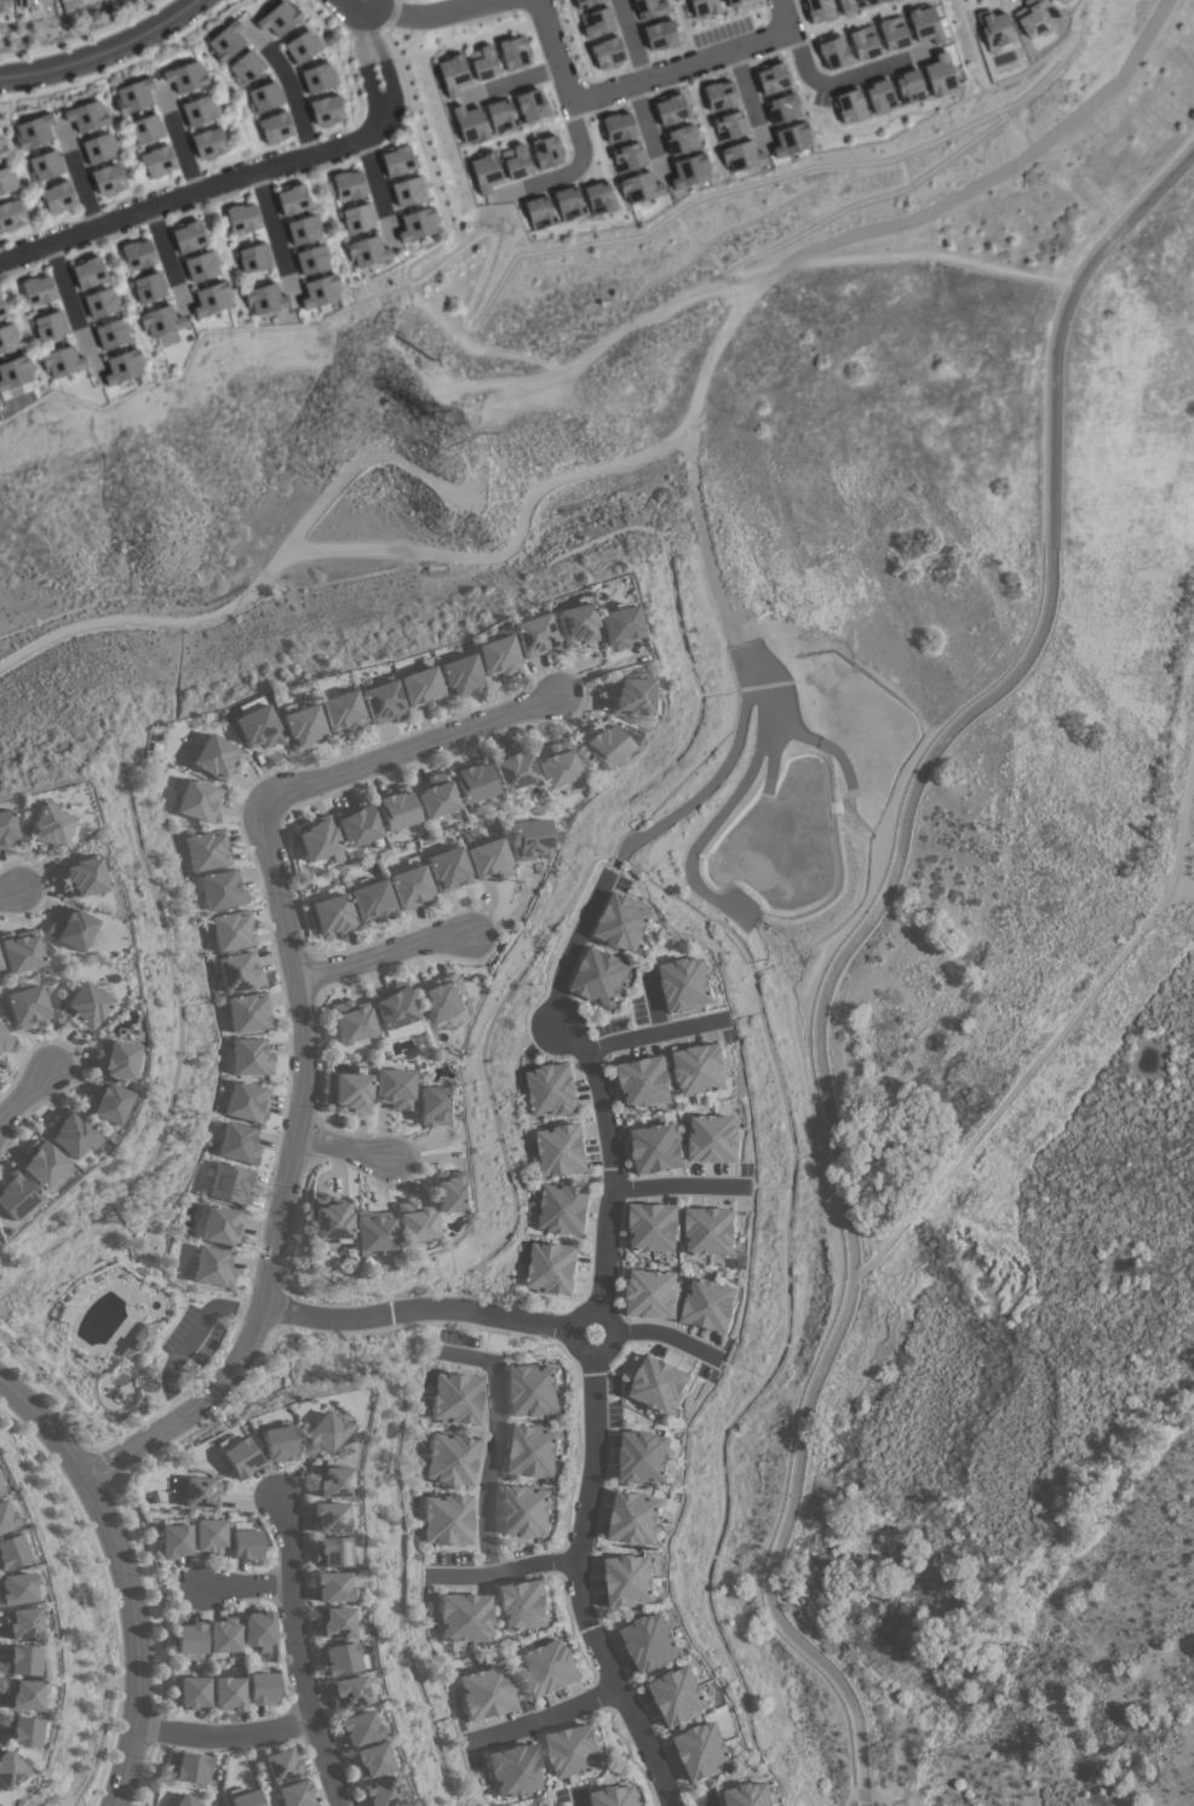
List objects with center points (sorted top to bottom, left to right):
building: (62, 0)
building: (733, 1)
road: (354, 2)
building: (30, 4)
building: (585, 4)
building: (856, 5)
building: (4, 6)
building: (648, 8)
building: (701, 8)
building: (817, 11)
road: (429, 15)
building: (279, 18)
building: (596, 23)
building: (923, 25)
building: (891, 33)
building: (659, 36)
road: (82, 38)
building: (225, 42)
building: (862, 44)
building: (302, 47)
road: (103, 52)
building: (512, 53)
building: (605, 53)
building: (832, 53)
building: (482, 64)
building: (246, 68)
building: (452, 75)
building: (937, 75)
building: (185, 76)
building: (317, 78)
building: (770, 80)
road: (644, 81)
road: (826, 82)
building: (907, 87)
road: (289, 90)
building: (133, 96)
building: (878, 97)
building: (264, 98)
building: (848, 107)
building: (781, 109)
building: (515, 110)
building: (668, 110)
building: (197, 111)
building: (326, 111)
building: (86, 116)
building: (469, 125)
building: (275, 128)
building: (729, 128)
building: (144, 130)
building: (33, 132)
building: (679, 141)
building: (790, 141)
road: (177, 144)
building: (208, 144)
building: (2, 149)
building: (98, 149)
building: (545, 153)
road: (579, 156)
building: (627, 159)
building: (397, 160)
building: (157, 162)
building: (515, 162)
building: (45, 166)
building: (688, 172)
building: (484, 173)
road: (249, 176)
road: (779, 176)
road: (80, 179)
building: (6, 180)
building: (108, 180)
building: (348, 185)
road: (375, 190)
building: (407, 191)
building: (57, 197)
building: (597, 199)
building: (292, 200)
building: (567, 203)
building: (538, 212)
building: (11, 216)
building: (356, 218)
building: (241, 219)
building: (417, 225)
building: (303, 230)
building: (188, 236)
building: (367, 252)
building: (137, 256)
building: (252, 258)
building: (311, 260)
building: (200, 266)
building: (88, 273)
building: (148, 288)
building: (38, 291)
building: (320, 292)
building: (211, 299)
building: (264, 299)
building: (101, 303)
road: (70, 309)
building: (2, 311)
building: (160, 321)
building: (48, 326)
building: (111, 333)
building: (7, 338)
road: (712, 351)
building: (62, 362)
building: (122, 367)
building: (15, 373)
power tower: (446, 428)
road: (354, 552)
building: (574, 624)
building: (616, 626)
building: (532, 636)
building: (495, 653)
building: (459, 676)
building: (420, 688)
building: (627, 696)
building: (381, 703)
building: (341, 712)
building: (302, 727)
building: (257, 728)
building: (602, 745)
road: (404, 751)
building: (213, 757)
building: (555, 766)
building: (512, 768)
building: (472, 780)
building: (435, 796)
building: (200, 801)
building: (395, 809)
building: (357, 825)
building: (46, 827)
building: (5, 830)
building: (317, 838)
building: (529, 839)
building: (208, 849)
building: (489, 860)
building: (448, 868)
building: (81, 876)
building: (412, 888)
building: (223, 889)
road: (8, 895)
building: (373, 901)
building: (333, 916)
building: (624, 922)
building: (70, 929)
building: (231, 930)
road: (846, 950)
building: (19, 952)
road: (385, 956)
building: (0, 967)
building: (240, 971)
building: (601, 976)
building: (687, 984)
building: (442, 999)
building: (84, 1005)
building: (394, 1007)
building: (25, 1008)
road: (653, 1011)
building: (249, 1013)
building: (352, 1021)
road: (661, 1038)
building: (4, 1040)
building: (252, 1057)
building: (114, 1059)
building: (701, 1068)
building: (644, 1080)
building: (394, 1088)
building: (552, 1089)
road: (23, 1093)
building: (351, 1093)
building: (248, 1102)
building: (105, 1103)
building: (436, 1106)
building: (69, 1134)
building: (713, 1137)
building: (239, 1143)
road: (345, 1147)
building: (656, 1147)
building: (562, 1148)
building: (39, 1162)
building: (233, 1183)
road: (678, 1185)
road: (286, 1186)
building: (452, 1192)
building: (15, 1196)
building: (563, 1208)
building: (332, 1220)
building: (414, 1222)
building: (219, 1226)
building: (653, 1226)
building: (710, 1229)
building: (373, 1233)
building: (213, 1267)
building: (552, 1267)
building: (653, 1292)
building: (708, 1303)
road: (425, 1311)
road: (592, 1334)
road: (658, 1336)
road: (186, 1340)
building: (138, 1342)
building: (659, 1383)
building: (534, 1389)
road: (51, 1393)
building: (455, 1398)
building: (325, 1432)
building: (279, 1443)
road: (495, 1444)
building: (534, 1450)
building: (643, 1457)
building: (241, 1458)
building: (452, 1458)
building: (332, 1481)
building: (1, 1487)
building: (201, 1492)
building: (527, 1510)
building: (6, 1515)
building: (635, 1517)
building: (329, 1518)
building: (447, 1519)
road: (87, 1533)
building: (209, 1536)
building: (176, 1541)
building: (246, 1544)
building: (12, 1550)
building: (332, 1553)
road: (503, 1572)
road: (122, 1577)
building: (630, 1579)
road: (248, 1587)
building: (332, 1587)
building: (17, 1588)
road: (155, 1588)
building: (522, 1604)
building: (464, 1617)
building: (22, 1622)
building: (334, 1622)
building: (259, 1630)
building: (224, 1636)
building: (190, 1638)
building: (650, 1641)
building: (340, 1658)
road: (295, 1659)
building: (22, 1661)
building: (550, 1667)
building: (262, 1689)
building: (194, 1692)
building: (229, 1693)
building: (348, 1693)
building: (486, 1693)
building: (24, 1695)
building: (679, 1695)
road: (545, 1718)
building: (358, 1727)
building: (24, 1731)
road: (225, 1736)
road: (97, 1743)
road: (107, 1744)
building: (574, 1749)
building: (704, 1749)
building: (371, 1761)
building: (282, 1765)
building: (193, 1768)
building: (515, 1770)
building: (10, 1772)
building: (381, 1791)
building: (295, 1794)
building: (750, 1794)
building: (616, 1796)
building: (247, 1799)
building: (185, 1801)
road: (580, 1802)
road: (705, 1804)

